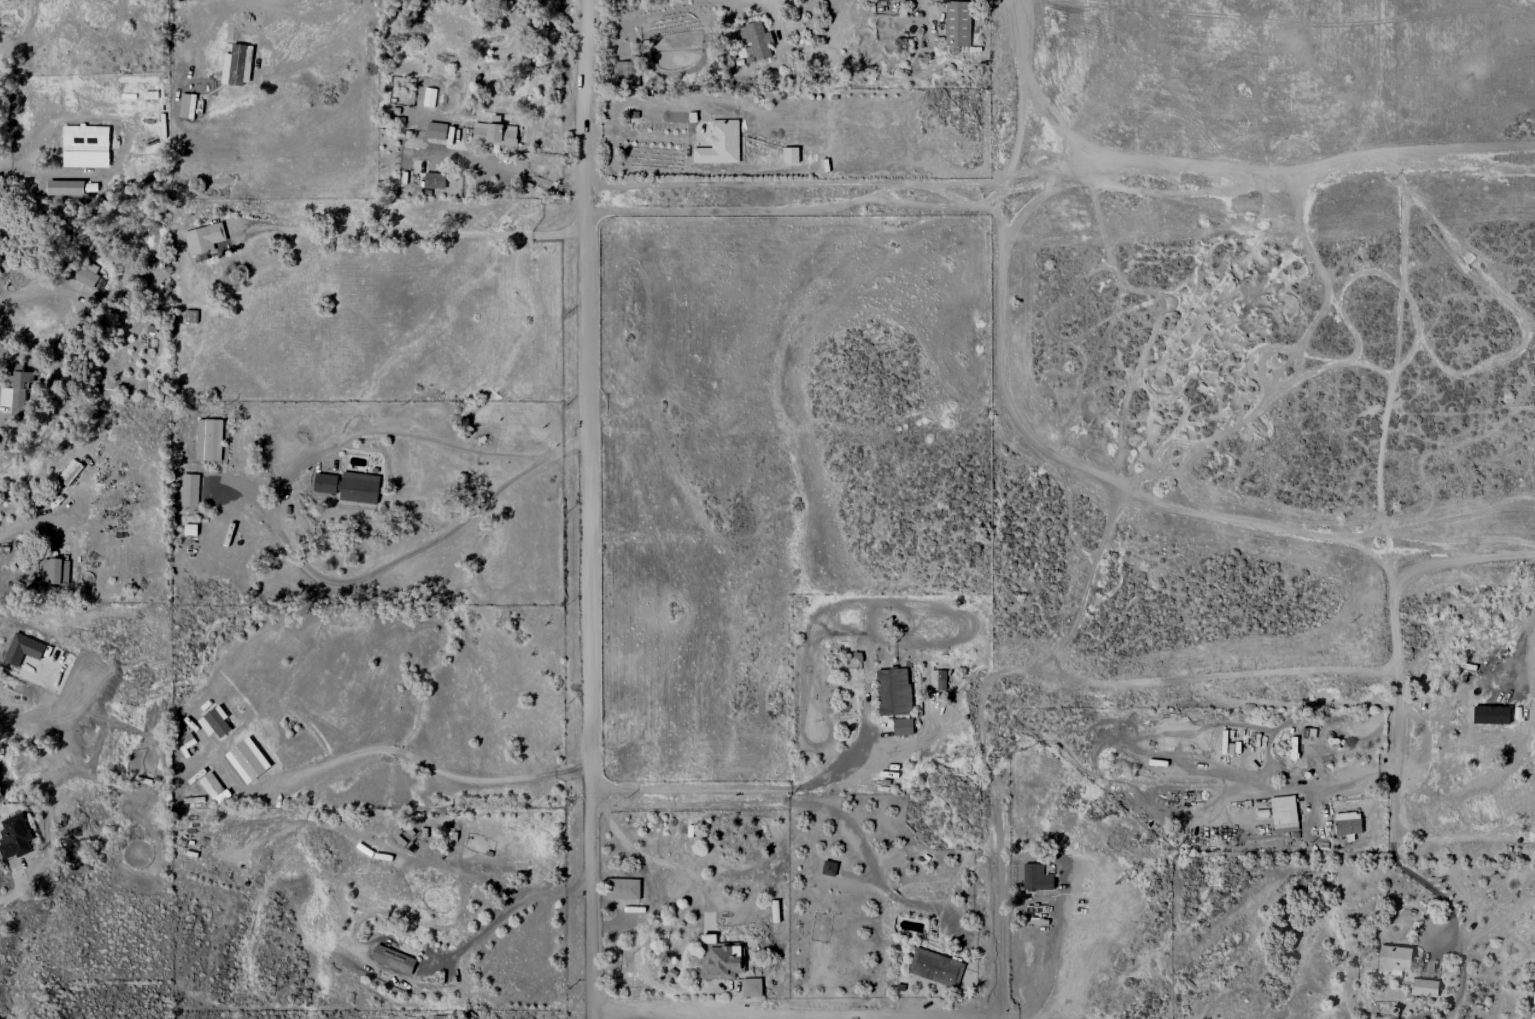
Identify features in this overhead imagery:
road: (1003, 1)
road: (781, 3)
road: (768, 6)
road: (627, 7)
building: (957, 25)
building: (755, 41)
building: (236, 64)
building: (627, 73)
road: (1019, 97)
road: (631, 132)
building: (494, 133)
building: (720, 143)
building: (85, 145)
road: (501, 166)
road: (1262, 181)
road: (415, 232)
building: (204, 238)
road: (999, 244)
building: (83, 273)
building: (16, 390)
building: (209, 439)
building: (70, 472)
building: (325, 483)
building: (359, 487)
building: (189, 490)
road: (1137, 493)
road: (588, 509)
road: (20, 524)
road: (1462, 558)
building: (54, 570)
building: (23, 649)
road: (1522, 653)
road: (1252, 672)
building: (940, 679)
building: (893, 691)
road: (1396, 712)
building: (1491, 714)
building: (214, 722)
building: (902, 726)
building: (187, 740)
building: (247, 759)
road: (454, 775)
road: (728, 786)
building: (213, 787)
road: (792, 803)
building: (1283, 814)
building: (1347, 823)
road: (993, 824)
building: (14, 836)
building: (828, 868)
building: (1036, 877)
building: (623, 888)
road: (1440, 896)
road: (503, 913)
building: (719, 958)
building: (393, 959)
building: (1394, 959)
building: (936, 967)
building: (1534, 982)
road: (1049, 983)
building: (751, 987)
building: (1424, 987)
building: (1533, 998)
road: (793, 1008)
building: (1532, 1015)
road: (996, 1016)

